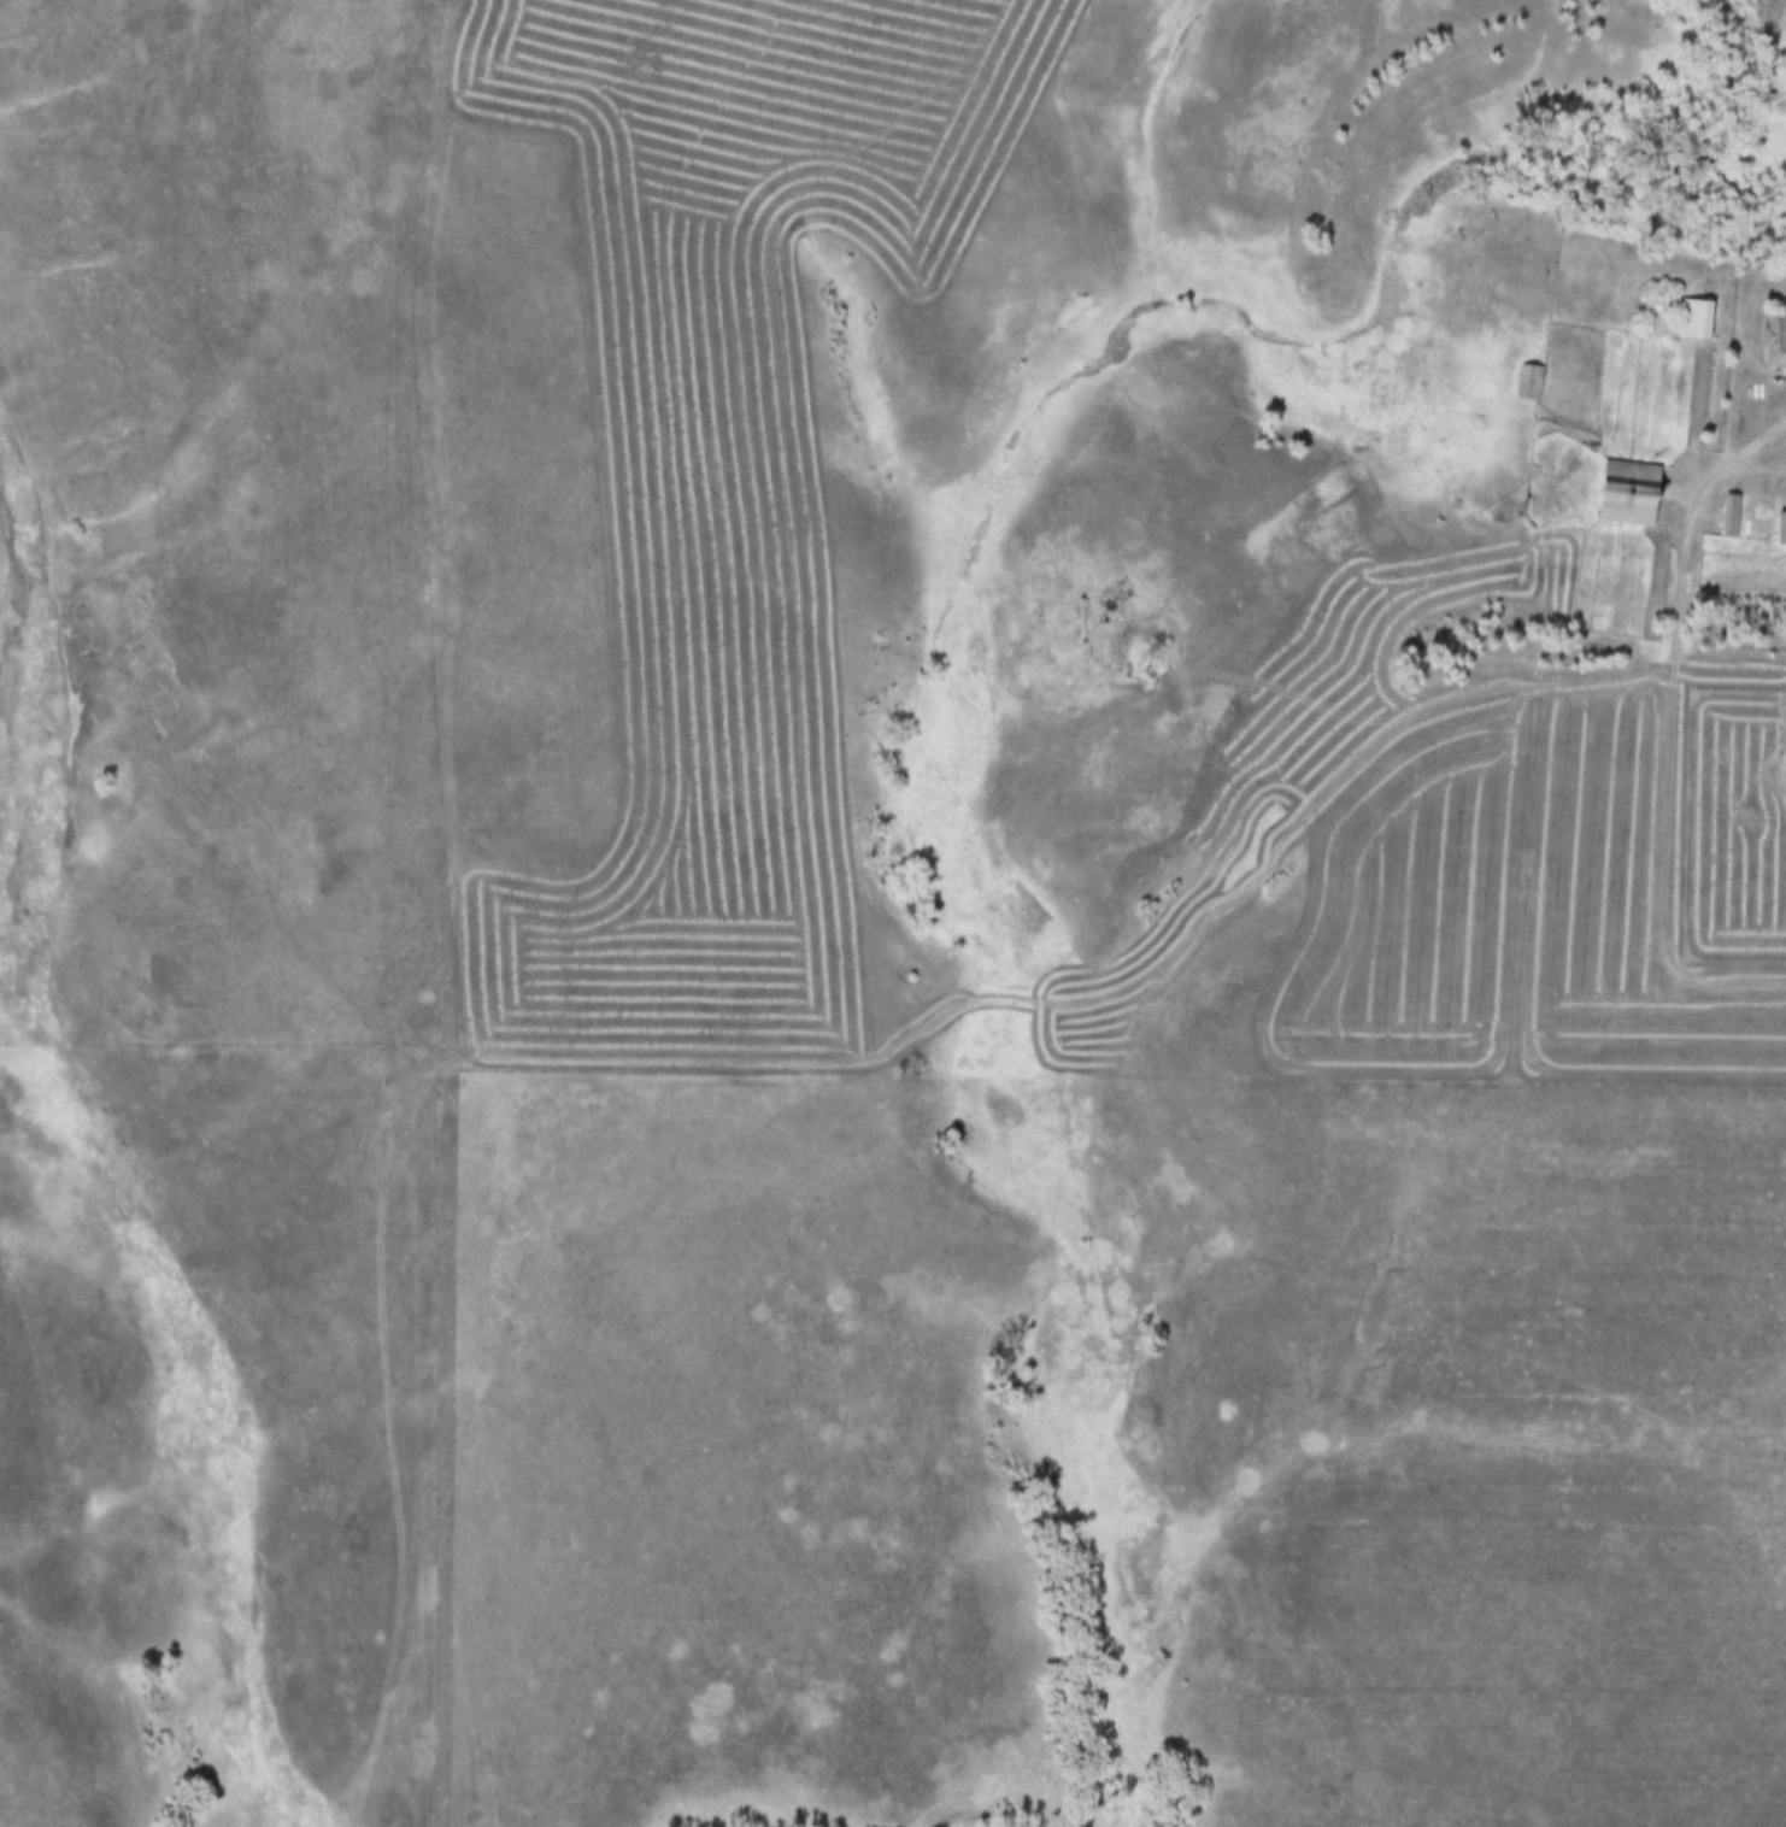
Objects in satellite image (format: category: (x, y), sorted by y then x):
building: (1651, 311)
building: (1692, 321)
building: (1772, 339)
road: (1735, 464)
building: (1623, 494)
building: (1781, 530)

